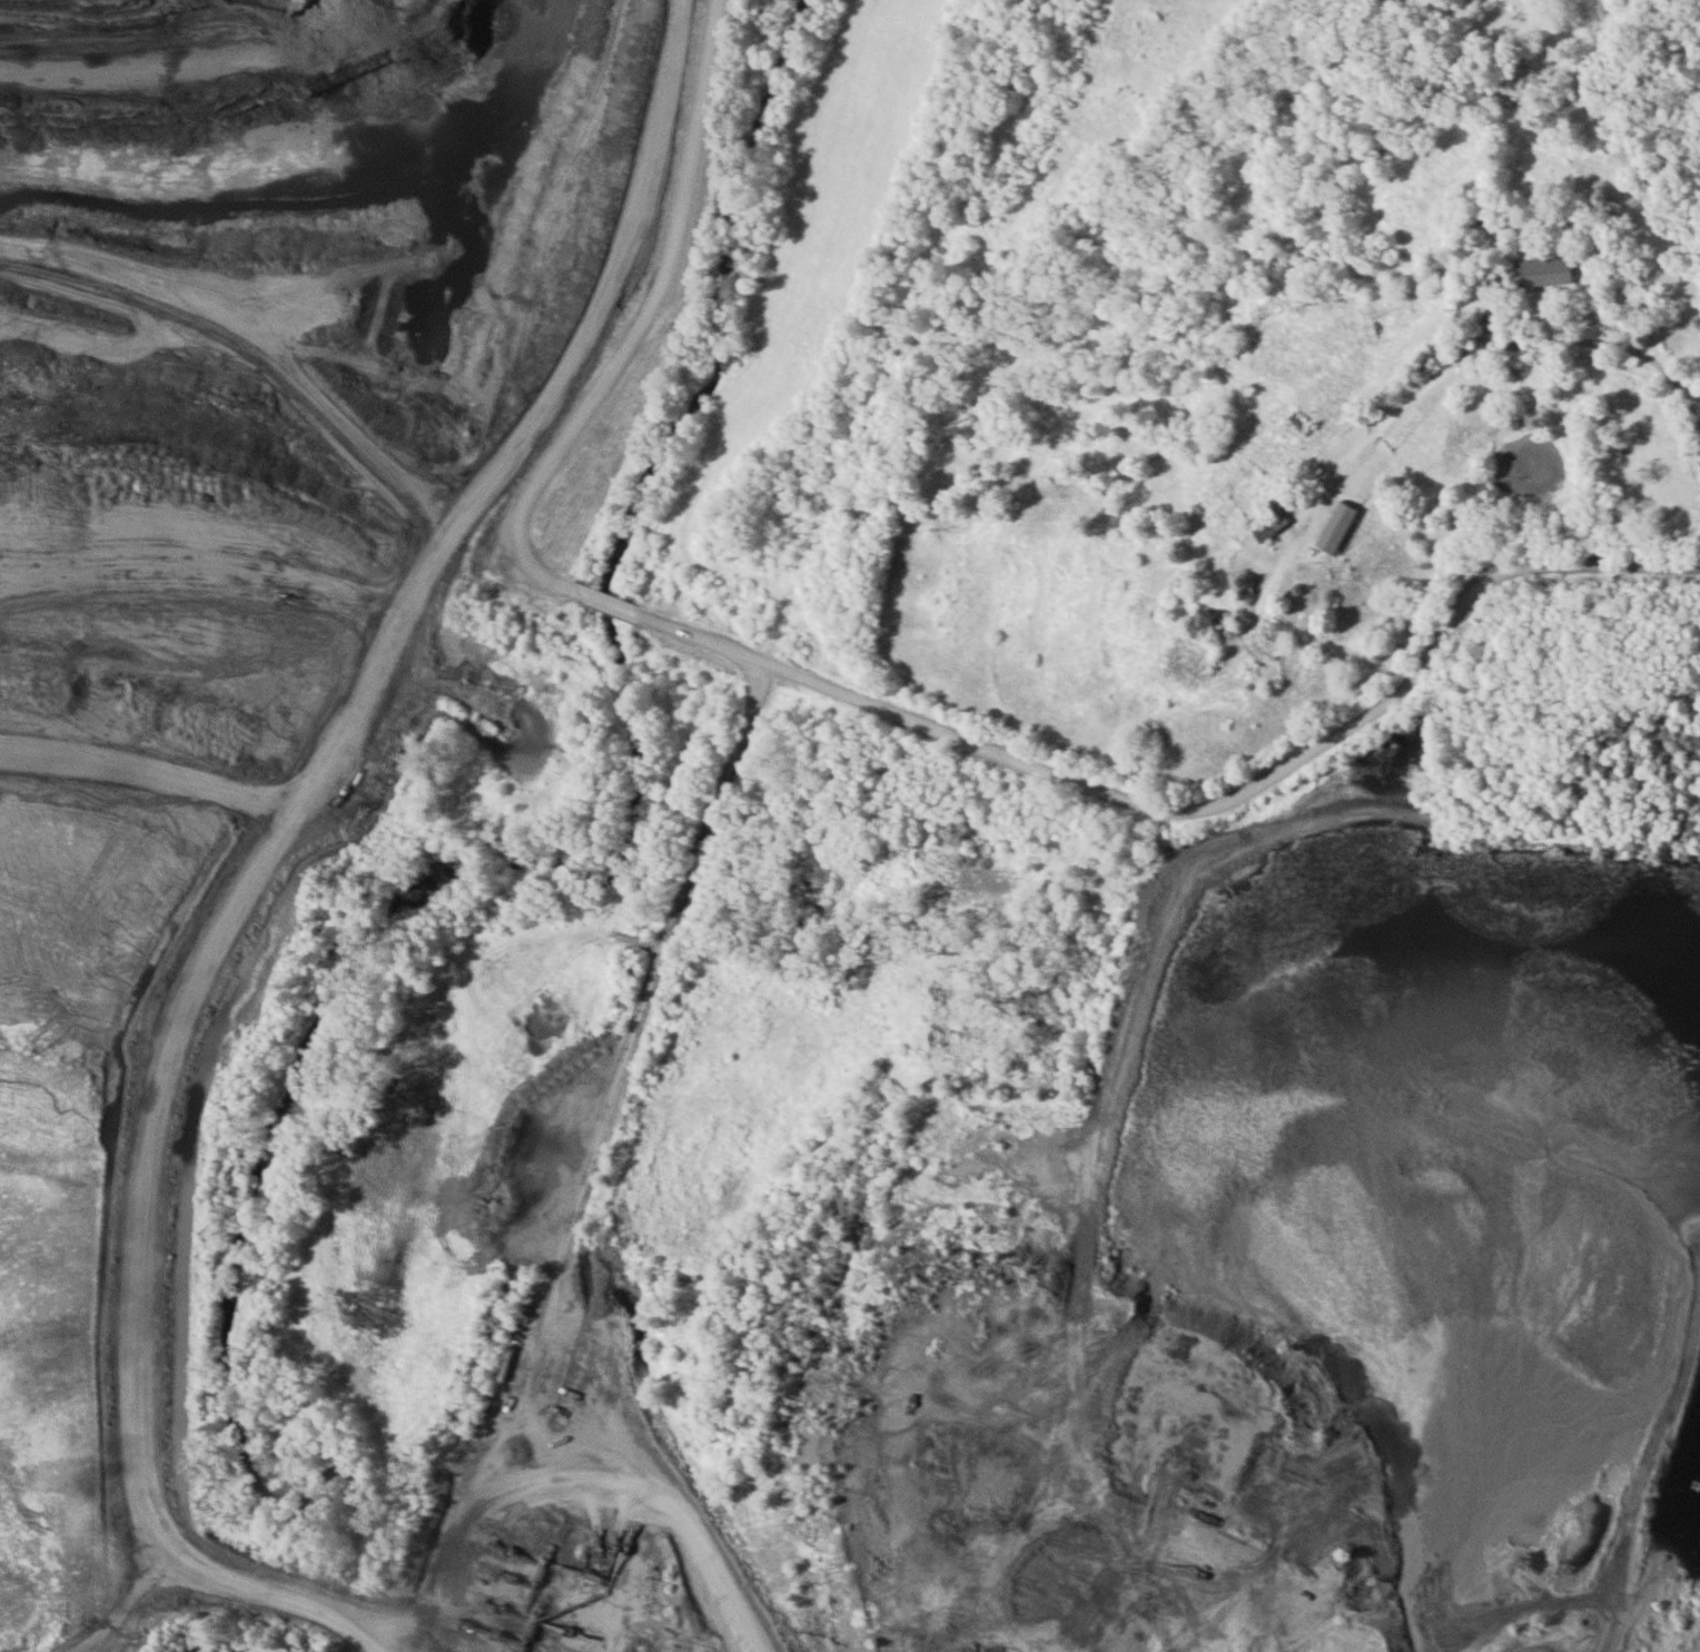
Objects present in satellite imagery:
building: (1548, 273)
building: (548, 278)
road: (643, 328)
road: (1465, 363)
building: (1302, 422)
road: (841, 443)
building: (1343, 527)
road: (609, 603)
road: (1200, 817)
road: (237, 1593)
road: (692, 1611)

